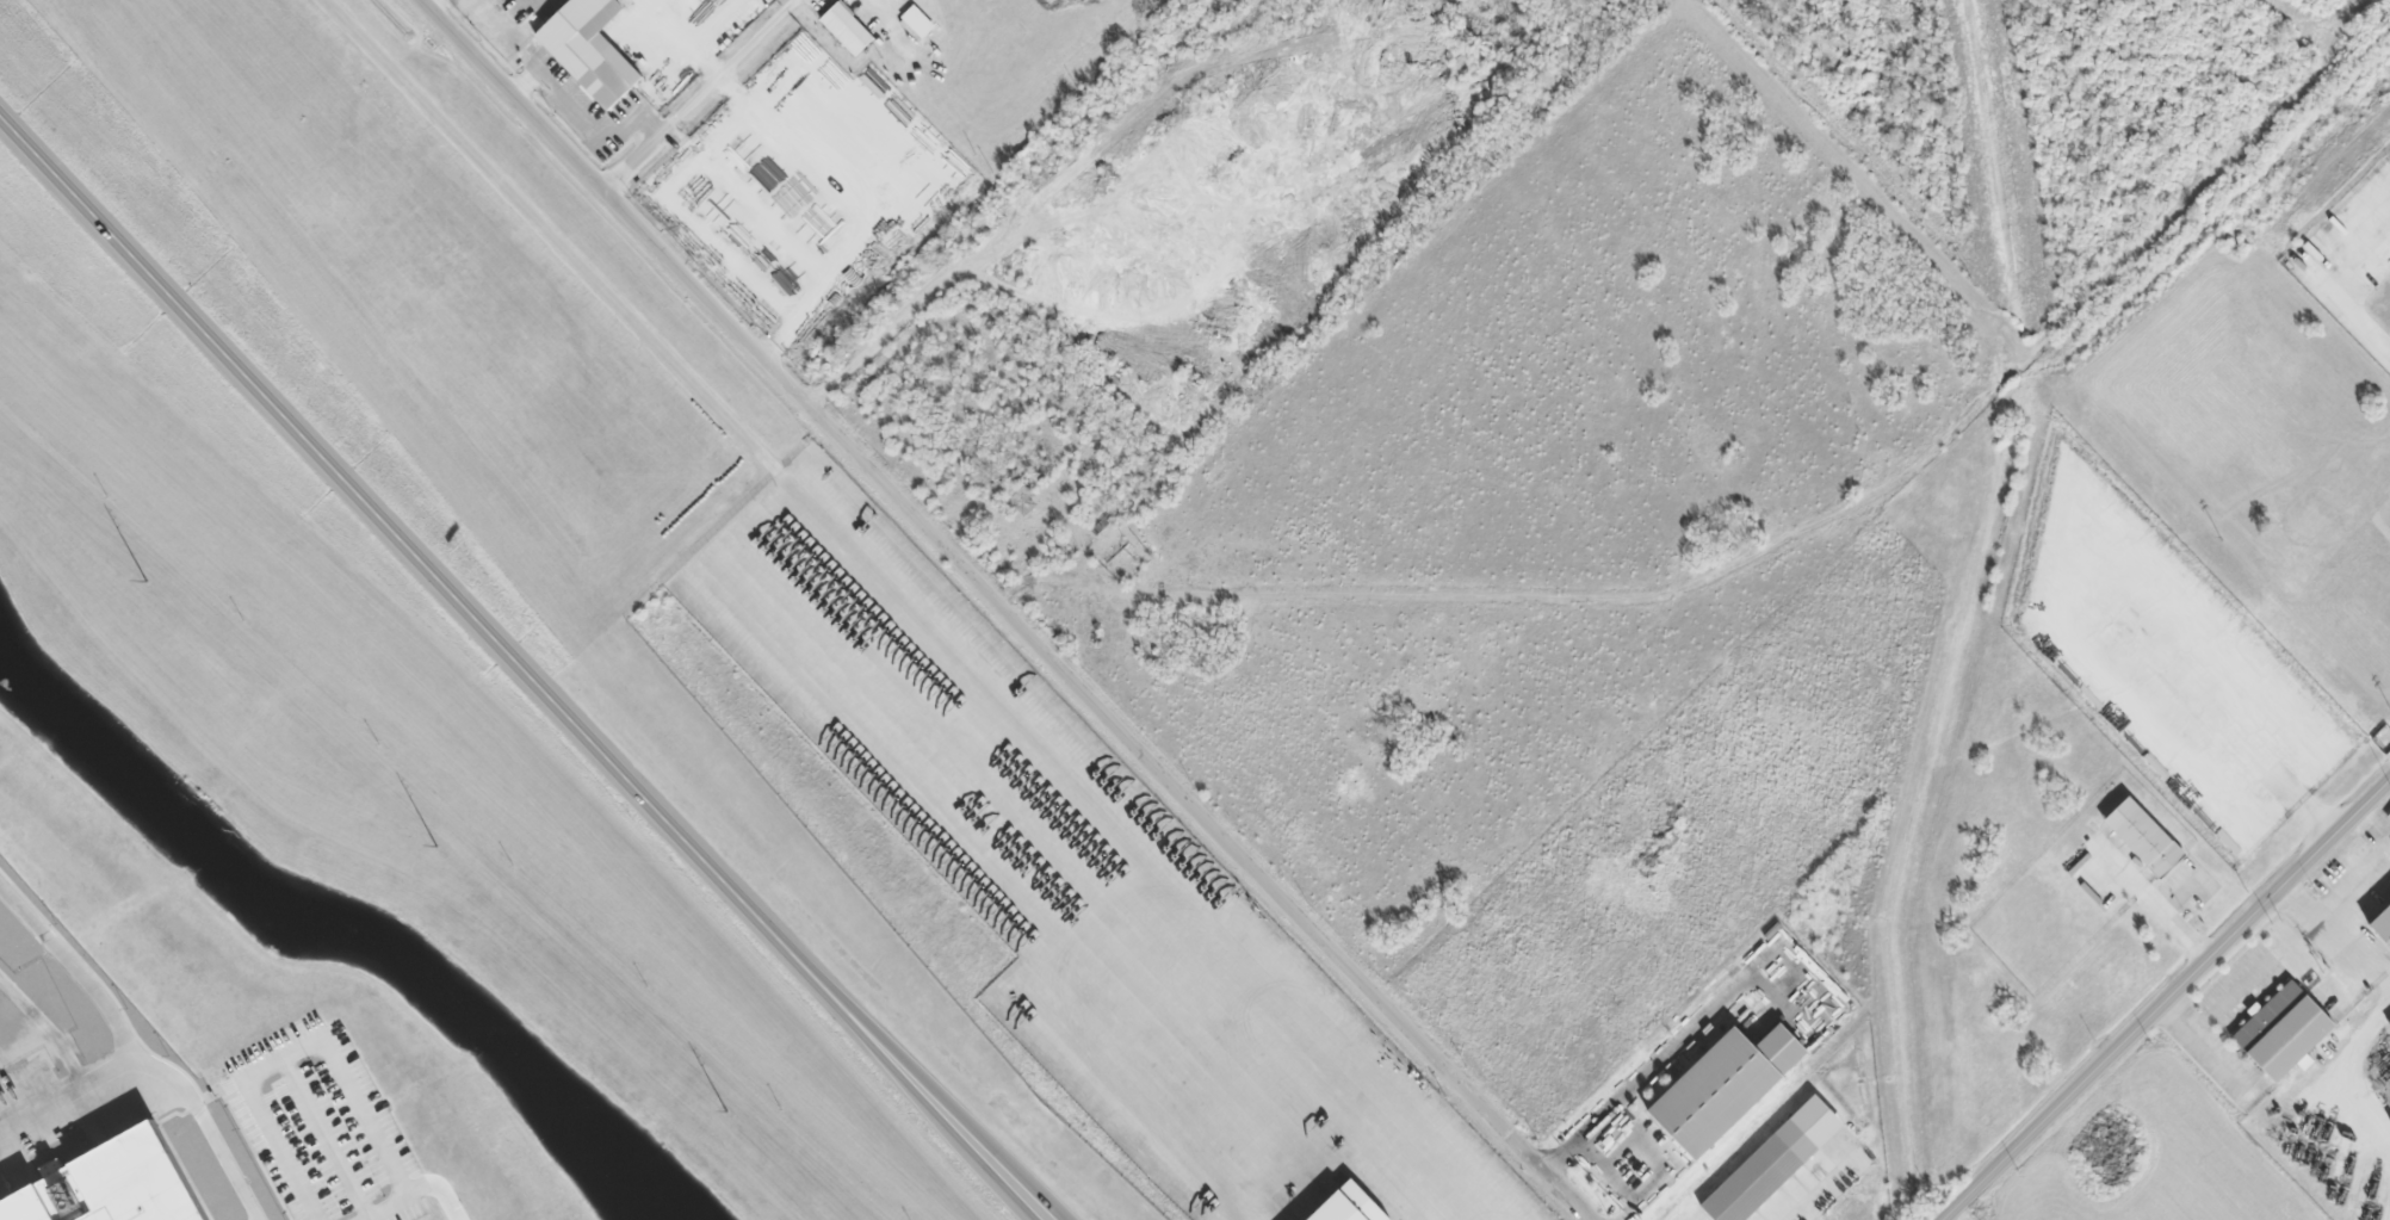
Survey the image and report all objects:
building: (916, 21)
building: (843, 29)
building: (584, 49)
road: (693, 94)
road: (552, 233)
road: (1004, 611)
road: (522, 669)
building: (2388, 817)
building: (2140, 837)
building: (2383, 925)
road: (2169, 1002)
building: (2279, 1032)
building: (1714, 1090)
building: (1769, 1163)
building: (98, 1182)
building: (1349, 1206)

